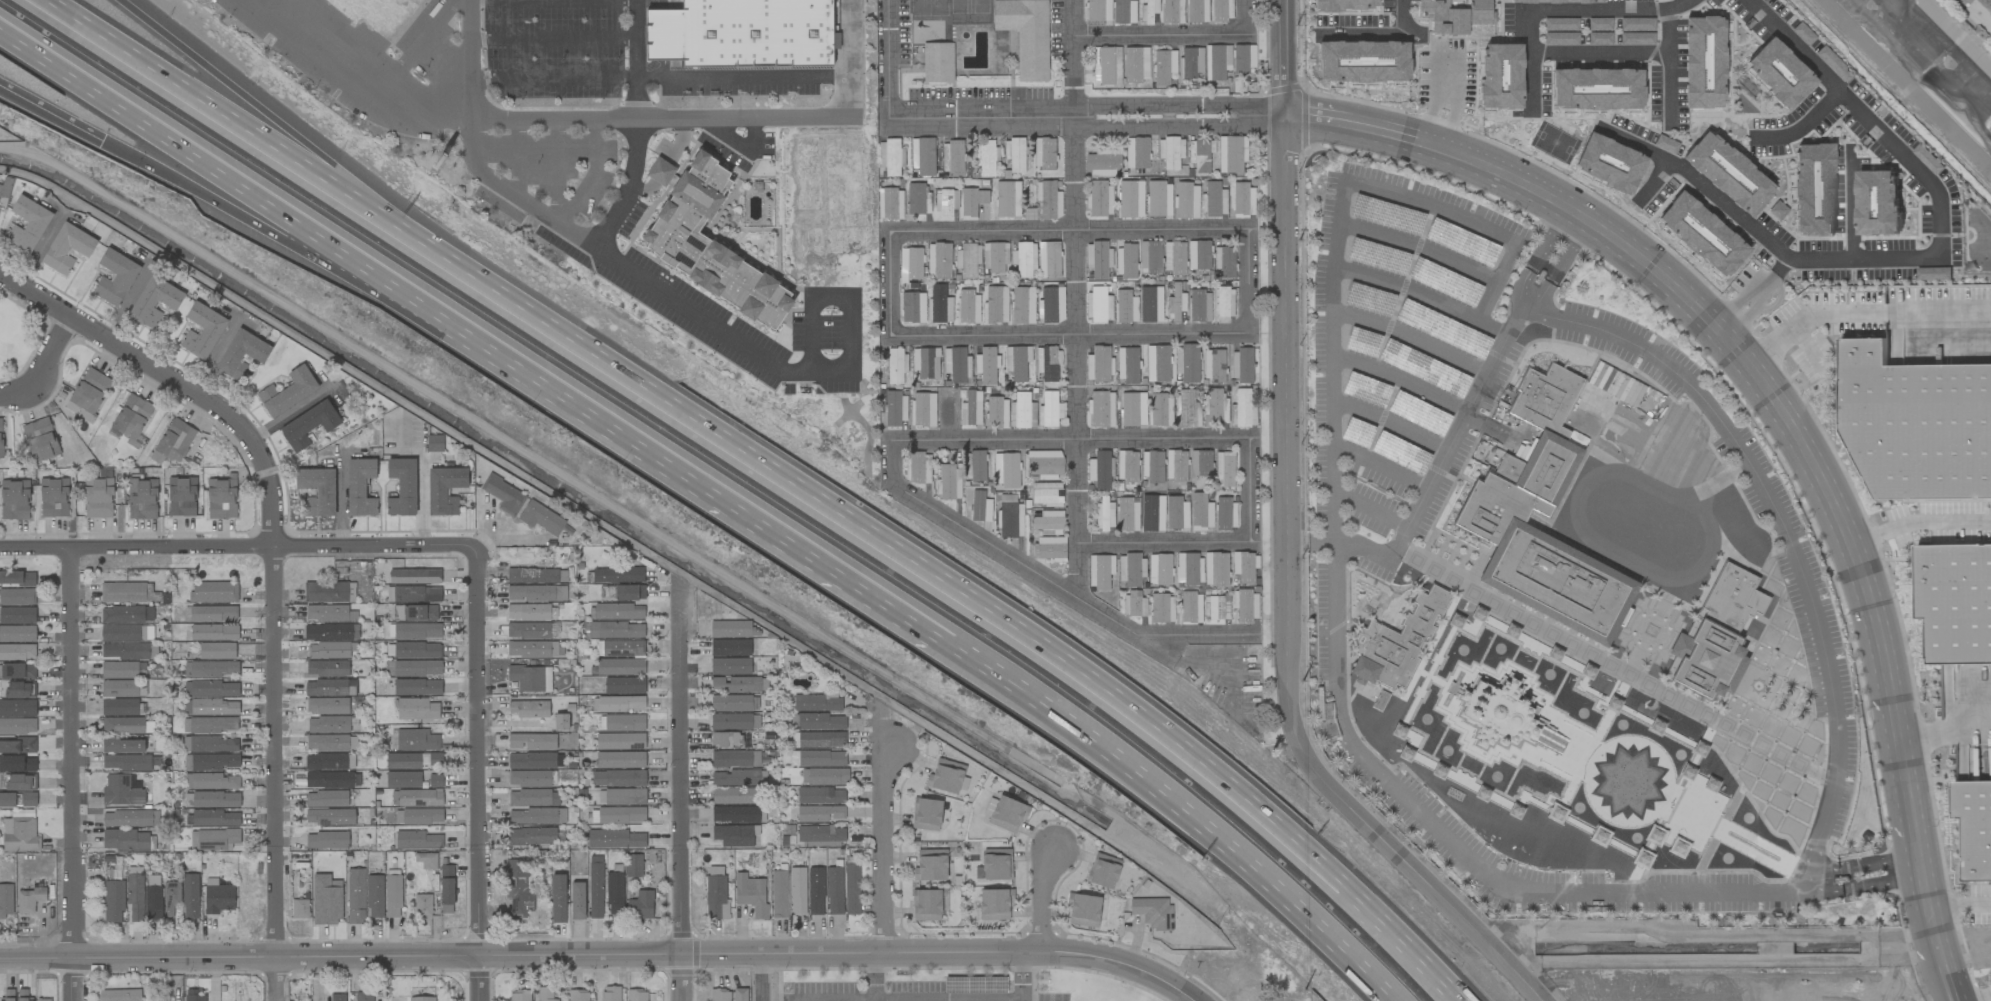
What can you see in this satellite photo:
building: (1559, 2)
building: (1346, 5)
building: (1098, 10)
building: (1221, 10)
road: (1559, 10)
building: (1124, 11)
building: (1148, 11)
building: (1172, 11)
building: (1197, 11)
wastewater plant: (1976, 14)
road: (1248, 16)
building: (1456, 16)
road: (1404, 18)
road: (469, 21)
building: (738, 32)
road: (1161, 32)
building: (1026, 35)
road: (1368, 36)
building: (1561, 38)
building: (1599, 38)
road: (552, 40)
parking lot: (554, 48)
road: (1600, 56)
road: (889, 57)
road: (1281, 57)
building: (1243, 58)
road: (635, 59)
building: (1364, 61)
road: (470, 62)
building: (937, 62)
building: (1217, 62)
building: (1704, 62)
building: (1191, 63)
building: (1136, 65)
building: (1107, 66)
building: (1163, 67)
road: (1669, 67)
building: (1779, 72)
building: (1501, 75)
road: (742, 78)
road: (552, 79)
building: (1597, 88)
road: (1444, 101)
road: (1179, 107)
road: (983, 115)
road: (50, 116)
road: (470, 118)
road: (600, 120)
road: (1178, 125)
road: (1801, 127)
road: (248, 132)
road: (281, 133)
building: (1170, 152)
building: (1044, 153)
building: (1136, 153)
building: (1015, 154)
building: (1200, 154)
building: (1231, 154)
building: (922, 156)
road: (209, 157)
building: (890, 157)
building: (985, 157)
building: (952, 158)
building: (1103, 163)
building: (1609, 163)
building: (660, 172)
building: (1728, 172)
road: (1652, 182)
building: (0, 187)
road: (628, 189)
building: (1814, 190)
building: (1099, 198)
building: (916, 199)
building: (1007, 199)
building: (1243, 199)
building: (1048, 200)
building: (1214, 200)
building: (1187, 201)
building: (946, 202)
building: (972, 202)
building: (1878, 202)
building: (890, 203)
road: (1852, 203)
road: (1340, 208)
road: (61, 213)
building: (1387, 215)
road: (259, 218)
building: (28, 224)
road: (1071, 228)
building: (1702, 234)
building: (1460, 242)
road: (1560, 245)
building: (711, 246)
building: (67, 248)
road: (40, 250)
building: (1198, 255)
building: (1378, 256)
building: (994, 257)
building: (1150, 257)
building: (1174, 258)
building: (968, 259)
building: (1098, 259)
road: (1911, 259)
building: (938, 260)
building: (1023, 260)
building: (1048, 260)
building: (1126, 260)
building: (1224, 262)
road: (150, 265)
building: (115, 277)
road: (894, 282)
road: (1249, 282)
building: (1444, 282)
road: (1078, 296)
road: (1754, 296)
road: (1529, 297)
road: (127, 300)
building: (155, 301)
building: (1224, 303)
building: (996, 304)
building: (1098, 304)
building: (1176, 304)
building: (939, 305)
building: (1022, 305)
building: (1051, 305)
building: (1199, 306)
building: (912, 307)
building: (968, 307)
building: (1125, 307)
road: (1861, 313)
road: (236, 317)
building: (202, 330)
building: (1444, 330)
road: (1072, 334)
parking lot: (1396, 334)
park: (16, 336)
road: (728, 337)
road: (215, 353)
building: (241, 354)
building: (925, 362)
building: (1017, 362)
building: (1047, 363)
building: (1189, 363)
building: (894, 364)
building: (1099, 364)
building: (957, 365)
building: (986, 365)
building: (1127, 365)
building: (1214, 365)
building: (1241, 365)
building: (1424, 368)
road: (45, 371)
road: (1754, 375)
road: (1682, 379)
road: (326, 389)
building: (90, 390)
building: (1366, 390)
building: (287, 391)
building: (1215, 407)
building: (1131, 408)
building: (894, 409)
building: (923, 409)
building: (1101, 409)
building: (1242, 409)
building: (970, 410)
building: (1049, 410)
building: (1160, 410)
building: (1022, 412)
building: (996, 413)
building: (1419, 413)
road: (288, 414)
building: (132, 418)
building: (1917, 424)
building: (308, 425)
building: (1, 438)
road: (1073, 438)
building: (40, 440)
building: (174, 442)
building: (434, 443)
road: (349, 449)
building: (1400, 453)
building: (1533, 458)
building: (1200, 463)
building: (1044, 464)
road: (677, 465)
road: (423, 466)
building: (1126, 466)
building: (1176, 466)
building: (1152, 467)
building: (918, 468)
building: (1224, 469)
building: (1099, 470)
building: (949, 482)
building: (402, 487)
building: (360, 488)
building: (317, 490)
building: (445, 490)
road: (1254, 491)
building: (1046, 493)
building: (503, 495)
building: (53, 497)
building: (182, 497)
building: (98, 498)
building: (142, 499)
building: (221, 499)
building: (14, 500)
road: (340, 500)
building: (980, 507)
road: (1915, 511)
building: (1104, 512)
building: (1201, 512)
building: (1225, 513)
building: (1127, 515)
building: (541, 518)
road: (1308, 539)
road: (1168, 542)
road: (999, 545)
road: (238, 546)
building: (1049, 548)
building: (1243, 566)
road: (274, 567)
building: (1187, 568)
building: (1130, 569)
building: (1215, 569)
building: (1100, 571)
building: (617, 575)
building: (414, 576)
building: (17, 578)
building: (1561, 578)
building: (123, 592)
building: (213, 592)
building: (329, 592)
building: (622, 592)
building: (537, 593)
building: (416, 594)
building: (1734, 594)
building: (17, 597)
building: (1955, 602)
building: (1133, 604)
road: (1285, 604)
building: (1246, 605)
road: (971, 607)
building: (1191, 607)
building: (1217, 607)
building: (1162, 608)
building: (619, 611)
building: (528, 612)
building: (329, 613)
building: (415, 613)
building: (126, 614)
building: (213, 614)
building: (17, 615)
building: (1468, 621)
building: (528, 630)
building: (616, 630)
building: (417, 631)
building: (214, 632)
building: (331, 632)
building: (123, 633)
building: (17, 634)
road: (1198, 634)
building: (1402, 641)
building: (730, 647)
building: (620, 648)
building: (533, 649)
building: (330, 650)
building: (416, 650)
building: (125, 651)
building: (216, 651)
building: (17, 652)
building: (1712, 658)
road: (1617, 663)
building: (730, 666)
building: (620, 667)
building: (327, 668)
building: (413, 668)
building: (211, 669)
building: (123, 670)
building: (17, 671)
building: (530, 678)
building: (735, 684)
building: (624, 685)
building: (329, 687)
building: (417, 687)
building: (119, 688)
building: (214, 688)
building: (20, 690)
building: (817, 702)
building: (621, 703)
building: (733, 703)
building: (327, 705)
building: (119, 707)
building: (214, 707)
building: (17, 708)
building: (416, 709)
building: (529, 709)
building: (1507, 715)
road: (1942, 719)
building: (734, 721)
building: (560, 722)
building: (821, 722)
building: (621, 723)
building: (328, 724)
building: (122, 725)
building: (210, 725)
building: (17, 726)
building: (821, 739)
building: (416, 740)
building: (725, 740)
building: (531, 741)
building: (620, 741)
building: (327, 743)
building: (210, 744)
building: (122, 745)
building: (17, 746)
road: (478, 751)
building: (734, 758)
building: (821, 759)
building: (532, 760)
building: (620, 760)
building: (402, 761)
building: (126, 762)
building: (211, 762)
building: (329, 762)
building: (17, 764)
road: (74, 774)
building: (824, 776)
building: (945, 776)
building: (618, 778)
building: (736, 778)
building: (403, 779)
building: (328, 780)
building: (215, 781)
building: (435, 781)
building: (21, 782)
building: (122, 790)
road: (681, 793)
building: (734, 795)
building: (820, 795)
building: (621, 797)
building: (416, 798)
building: (533, 798)
building: (28, 799)
building: (215, 799)
building: (326, 799)
building: (7, 800)
road: (1172, 803)
road: (1830, 808)
building: (819, 813)
building: (735, 814)
building: (926, 814)
building: (1007, 814)
building: (617, 815)
building: (418, 816)
building: (536, 816)
building: (329, 817)
building: (130, 818)
building: (215, 818)
road: (1434, 825)
building: (1974, 827)
building: (20, 835)
building: (735, 835)
building: (531, 836)
building: (820, 836)
building: (614, 839)
building: (125, 840)
building: (213, 840)
building: (326, 840)
building: (417, 840)
road: (883, 847)
road: (1809, 848)
building: (426, 860)
road: (1914, 863)
building: (996, 864)
building: (930, 865)
building: (633, 866)
building: (1103, 870)
building: (446, 885)
building: (518, 887)
building: (595, 887)
building: (852, 889)
road: (1841, 889)
building: (834, 890)
building: (797, 891)
building: (815, 891)
building: (614, 893)
building: (135, 894)
building: (393, 894)
building: (716, 894)
building: (751, 894)
building: (779, 894)
road: (1957, 894)
building: (190, 896)
building: (355, 896)
building: (374, 896)
building: (153, 897)
building: (217, 897)
building: (326, 899)
building: (557, 899)
road: (1044, 899)
building: (29, 900)
building: (5, 901)
building: (113, 901)
building: (995, 904)
building: (422, 905)
building: (640, 905)
building: (926, 905)
building: (301, 909)
building: (1083, 910)
building: (1153, 912)
road: (1935, 941)
road: (840, 953)
road: (239, 957)
road: (1026, 974)
road: (873, 976)
road: (758, 978)
road: (480, 979)
building: (609, 993)
road: (1950, 993)
building: (545, 994)
building: (740, 994)
building: (8, 995)
building: (23, 995)
building: (119, 995)
building: (520, 995)
building: (578, 995)
building: (636, 995)
building: (719, 995)
building: (194, 996)
building: (363, 996)
building: (337, 997)
road: (949, 997)
road: (1026, 998)
road: (1985, 998)
building: (43, 999)
building: (421, 999)
road: (832, 999)
road: (873, 1000)

